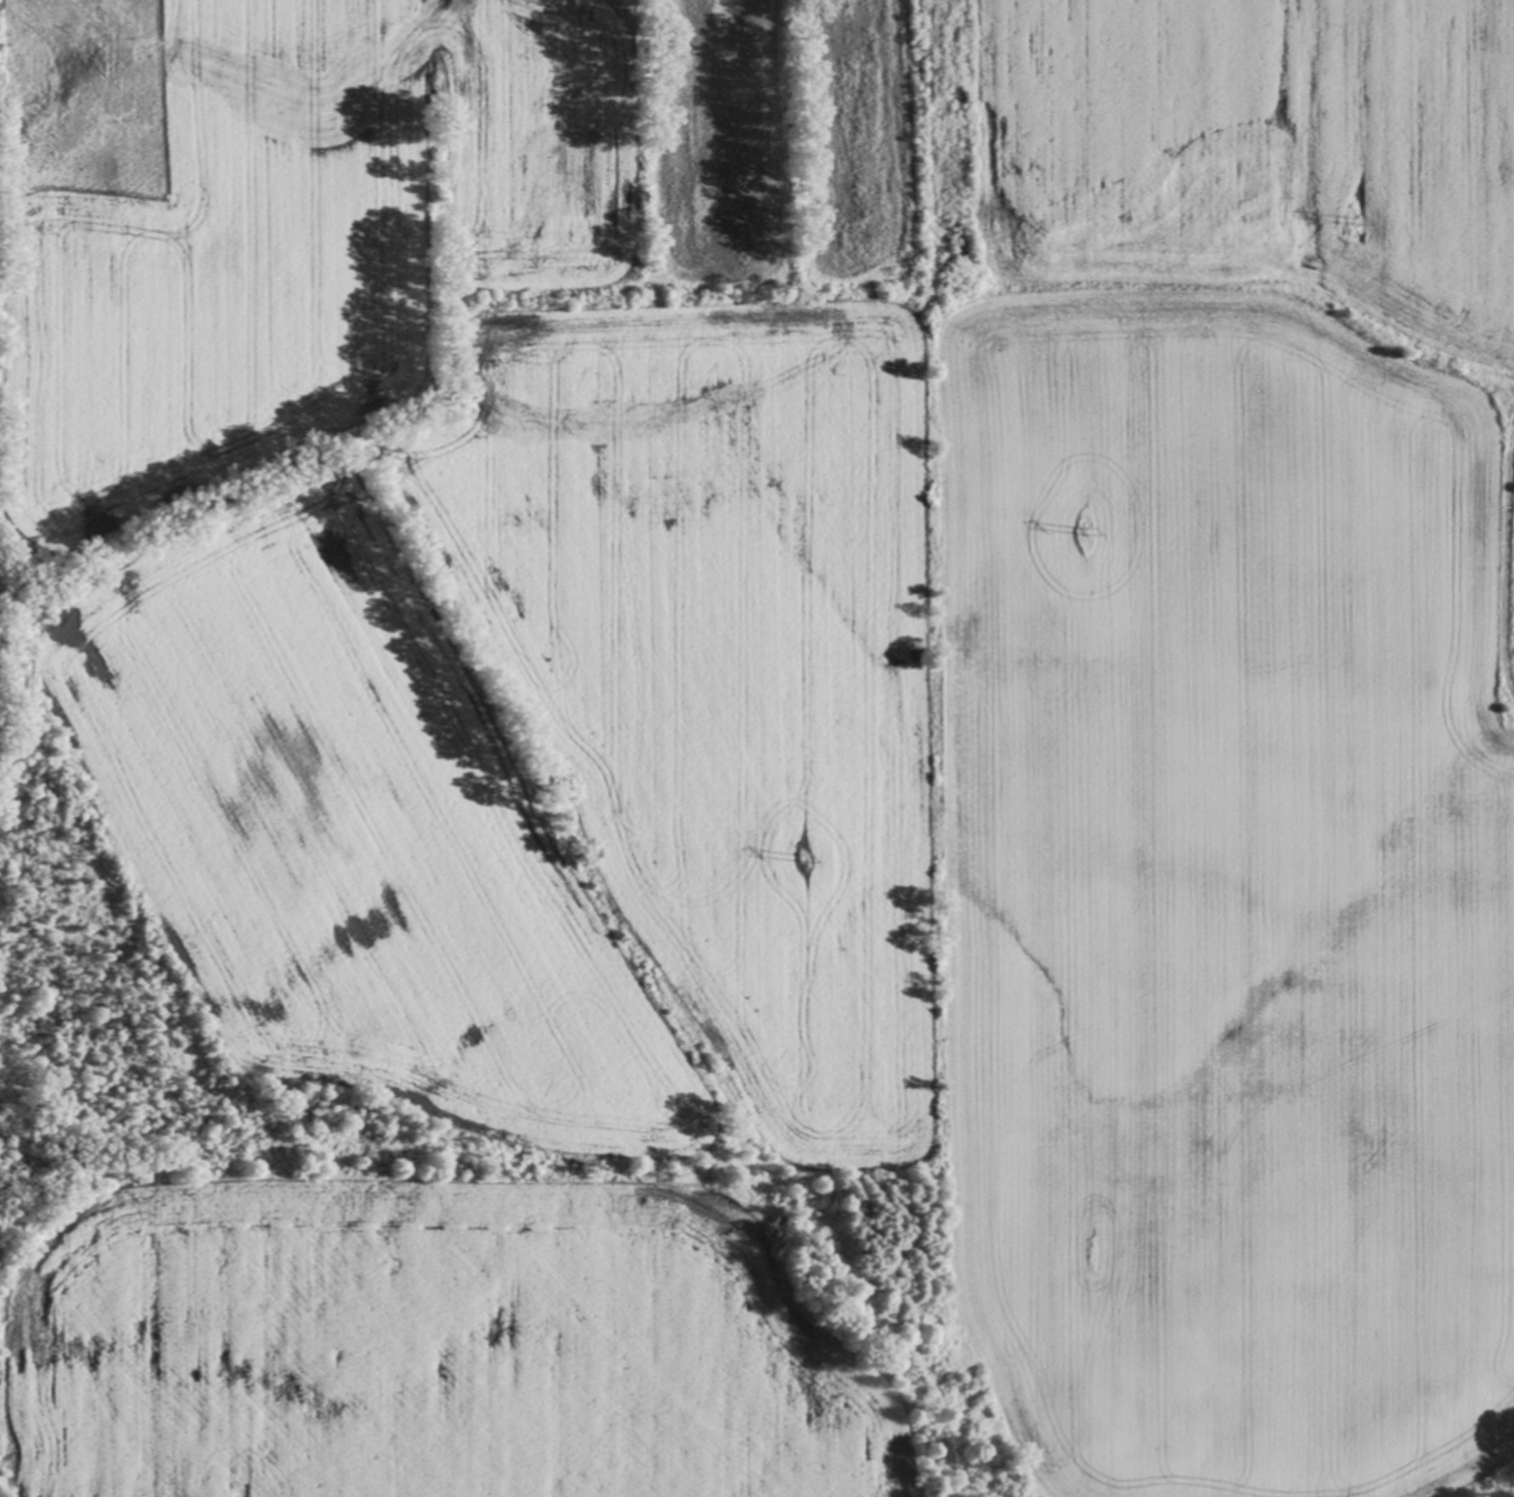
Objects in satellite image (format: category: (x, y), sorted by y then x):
power tower: (1358, 218)
power tower: (1087, 528)
power tower: (807, 855)
power tower: (537, 1169)

